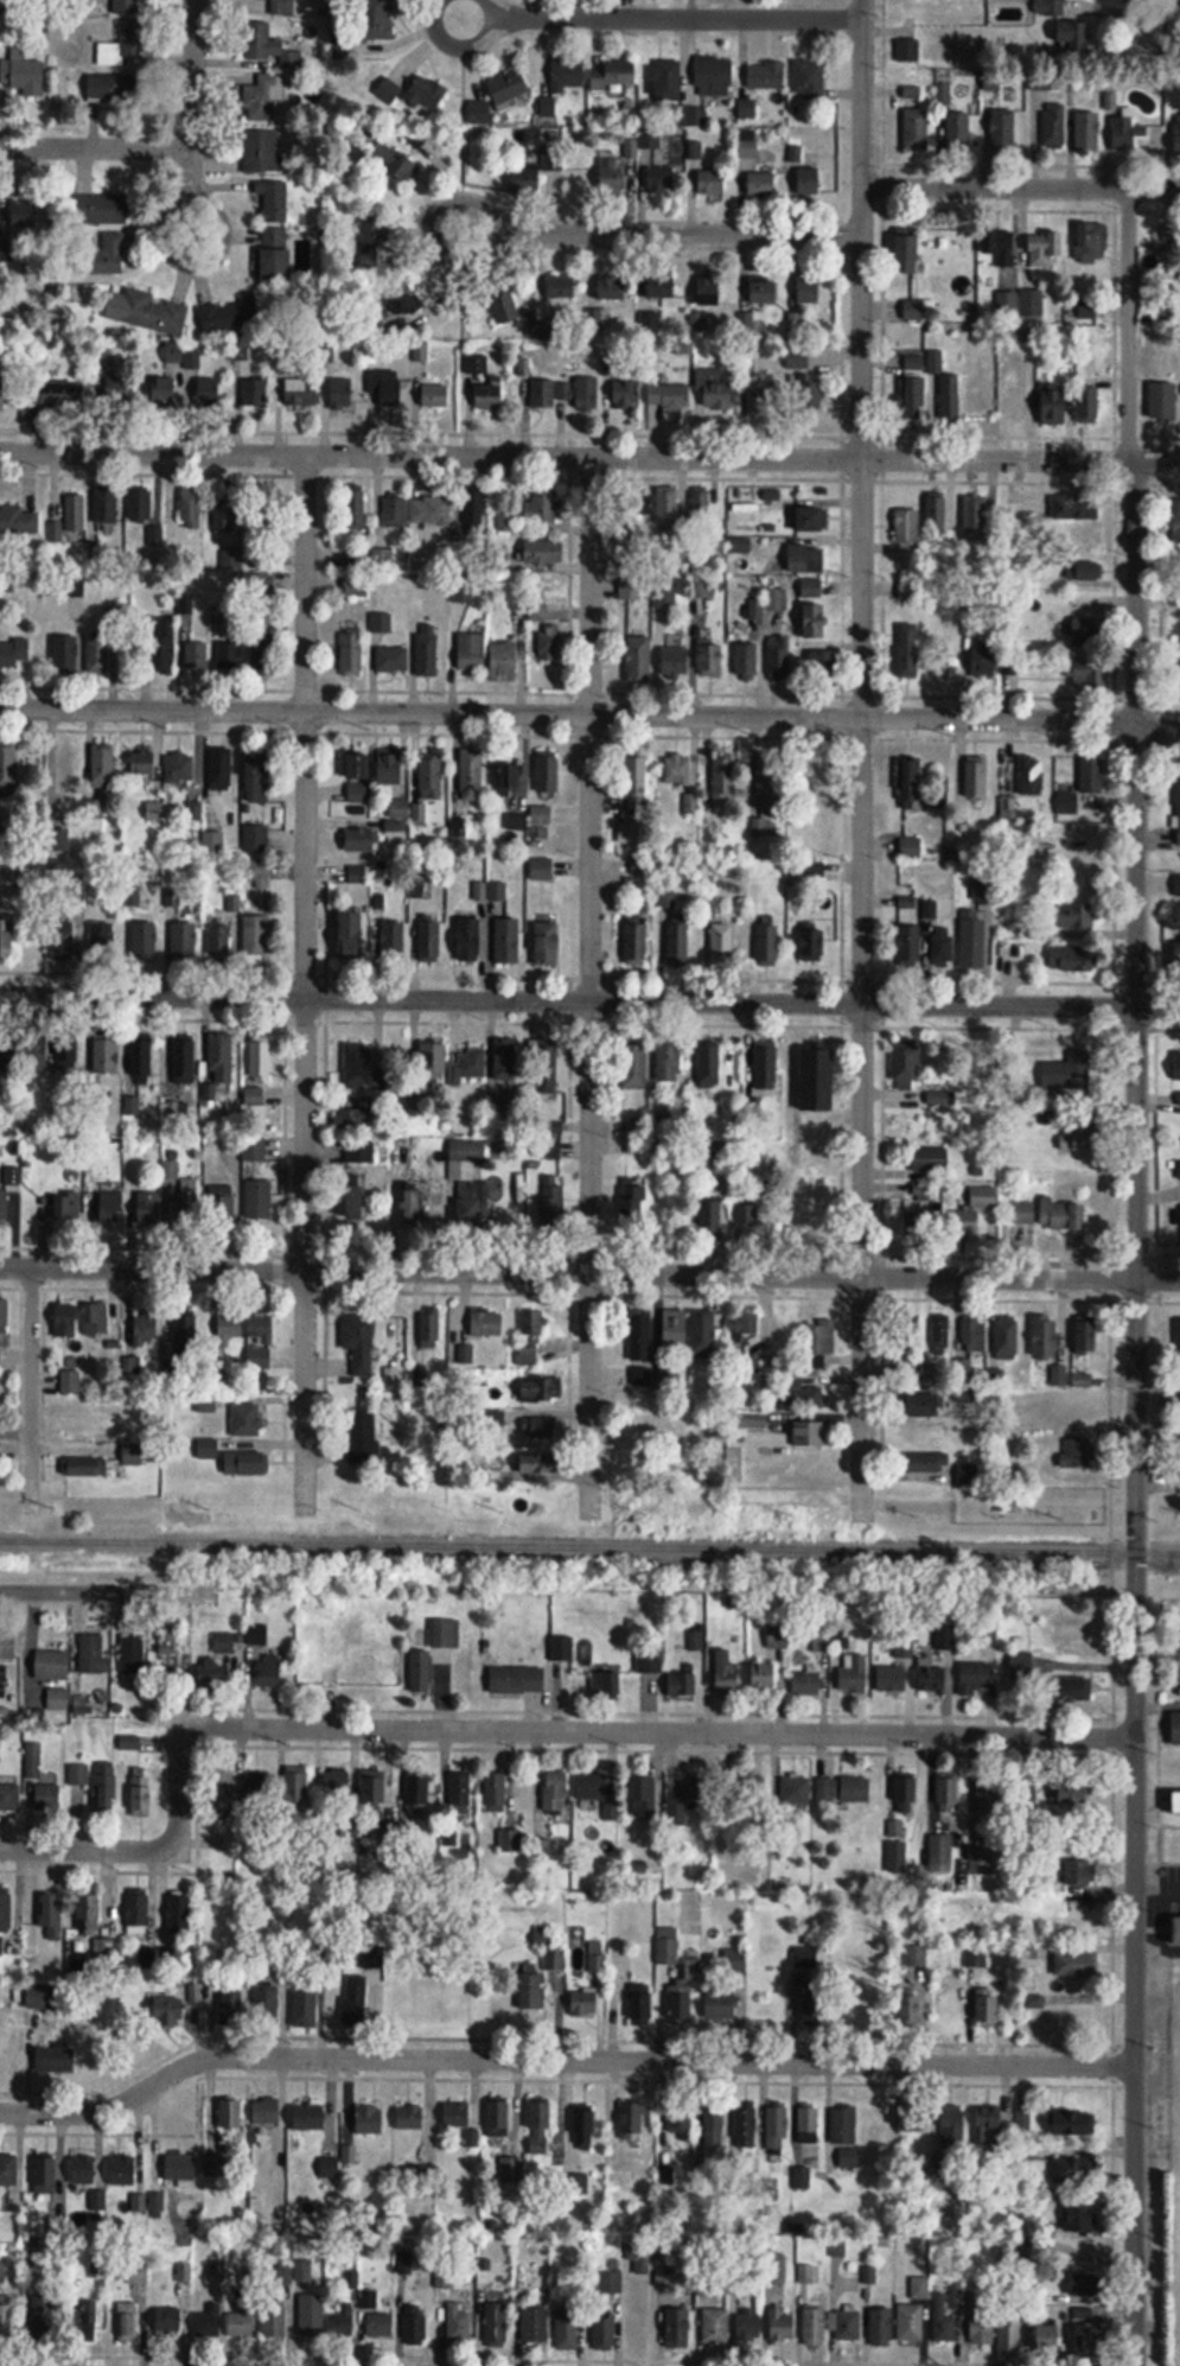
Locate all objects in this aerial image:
building: (274, 6)
building: (1050, 7)
road: (1137, 12)
building: (374, 14)
road: (676, 19)
building: (1073, 36)
road: (461, 46)
building: (267, 49)
building: (24, 74)
building: (615, 75)
building: (714, 75)
building: (766, 75)
building: (566, 76)
building: (809, 77)
building: (665, 79)
building: (509, 87)
building: (388, 90)
building: (114, 91)
building: (426, 91)
building: (263, 96)
building: (748, 109)
building: (480, 112)
building: (1054, 126)
building: (916, 127)
building: (1003, 129)
building: (958, 131)
building: (1089, 131)
building: (1122, 132)
building: (1176, 133)
road: (192, 136)
building: (748, 144)
road: (96, 147)
building: (429, 148)
building: (262, 152)
building: (395, 161)
building: (653, 166)
building: (612, 176)
building: (527, 180)
building: (808, 182)
building: (712, 184)
building: (761, 184)
road: (1020, 186)
building: (273, 199)
building: (101, 209)
building: (37, 216)
road: (639, 235)
building: (372, 242)
building: (1091, 242)
building: (1003, 247)
building: (1044, 248)
building: (109, 252)
building: (276, 253)
building: (908, 254)
building: (561, 286)
building: (662, 286)
building: (611, 287)
building: (809, 288)
building: (765, 290)
building: (709, 291)
building: (404, 300)
building: (1032, 303)
building: (505, 310)
building: (919, 310)
building: (154, 312)
building: (227, 317)
building: (174, 352)
building: (802, 361)
building: (935, 362)
building: (387, 388)
building: (6, 389)
building: (211, 389)
building: (120, 390)
building: (164, 390)
building: (255, 392)
building: (713, 392)
building: (583, 393)
building: (300, 394)
building: (626, 394)
building: (810, 394)
building: (62, 395)
building: (339, 395)
building: (543, 395)
building: (435, 396)
building: (490, 396)
building: (669, 397)
building: (766, 397)
building: (914, 400)
building: (950, 400)
building: (1163, 401)
building: (1015, 402)
building: (978, 403)
building: (1089, 406)
building: (1054, 408)
road: (589, 456)
building: (140, 503)
building: (701, 504)
building: (106, 505)
building: (739, 505)
building: (668, 507)
building: (192, 508)
building: (1077, 508)
building: (394, 511)
building: (430, 511)
building: (474, 511)
building: (351, 513)
building: (225, 514)
building: (506, 516)
building: (937, 516)
building: (811, 520)
building: (977, 520)
building: (19, 522)
building: (1176, 522)
building: (907, 528)
building: (155, 536)
building: (740, 546)
building: (543, 553)
building: (805, 559)
building: (382, 560)
building: (259, 580)
building: (356, 586)
building: (703, 587)
building: (812, 589)
building: (910, 590)
building: (630, 591)
building: (461, 592)
building: (776, 599)
building: (665, 602)
building: (757, 609)
building: (538, 613)
building: (113, 616)
building: (815, 622)
building: (381, 624)
building: (1089, 632)
building: (550, 643)
building: (428, 651)
building: (472, 651)
building: (908, 651)
building: (14, 654)
building: (66, 654)
building: (351, 654)
building: (100, 655)
building: (166, 655)
building: (230, 655)
building: (196, 656)
building: (710, 657)
building: (779, 657)
building: (263, 659)
building: (391, 660)
building: (639, 660)
building: (676, 660)
building: (747, 661)
building: (984, 661)
building: (504, 662)
building: (822, 664)
building: (1093, 678)
building: (1179, 678)
road: (589, 713)
road: (860, 761)
building: (145, 763)
building: (8, 765)
building: (103, 765)
building: (179, 768)
building: (221, 769)
building: (391, 770)
building: (677, 770)
building: (548, 772)
building: (358, 775)
building: (472, 775)
building: (1095, 775)
building: (504, 776)
building: (766, 776)
building: (432, 777)
building: (725, 777)
building: (257, 778)
building: (819, 780)
building: (910, 781)
building: (976, 783)
building: (640, 786)
building: (1067, 801)
building: (1178, 813)
building: (542, 818)
building: (255, 838)
building: (359, 841)
building: (213, 842)
building: (804, 842)
building: (911, 848)
building: (259, 873)
building: (811, 876)
building: (9, 879)
building: (1178, 885)
building: (1074, 916)
building: (351, 933)
building: (256, 935)
building: (7, 936)
building: (103, 939)
building: (184, 939)
building: (219, 939)
building: (429, 939)
building: (470, 939)
building: (767, 939)
building: (145, 940)
building: (508, 940)
building: (972, 940)
building: (62, 941)
building: (391, 941)
building: (636, 941)
building: (814, 941)
building: (678, 942)
building: (722, 942)
building: (548, 943)
building: (910, 946)
building: (1178, 954)
building: (1073, 958)
road: (306, 984)
road: (591, 987)
road: (589, 1000)
building: (37, 1054)
building: (68, 1054)
building: (106, 1055)
building: (140, 1057)
building: (221, 1057)
building: (505, 1058)
building: (434, 1060)
building: (184, 1062)
building: (255, 1062)
building: (669, 1062)
building: (709, 1064)
building: (467, 1066)
building: (634, 1066)
building: (766, 1066)
building: (907, 1066)
building: (1176, 1066)
building: (362, 1067)
building: (544, 1067)
building: (1066, 1074)
building: (818, 1080)
building: (254, 1096)
building: (353, 1117)
building: (1080, 1137)
building: (359, 1151)
building: (809, 1155)
building: (930, 1160)
building: (1179, 1166)
building: (468, 1177)
building: (256, 1182)
building: (923, 1192)
building: (351, 1197)
building: (187, 1202)
building: (222, 1203)
building: (412, 1203)
building: (555, 1204)
building: (65, 1207)
building: (107, 1207)
building: (4, 1208)
building: (148, 1208)
building: (632, 1208)
building: (974, 1209)
building: (1025, 1213)
building: (1061, 1216)
building: (710, 1217)
building: (746, 1221)
building: (808, 1221)
building: (920, 1226)
building: (1172, 1228)
road: (589, 1273)
road: (1136, 1277)
building: (5, 1316)
building: (65, 1321)
building: (100, 1321)
building: (486, 1323)
building: (229, 1325)
building: (260, 1325)
building: (145, 1329)
building: (745, 1329)
building: (429, 1330)
building: (675, 1330)
building: (186, 1331)
building: (703, 1333)
building: (974, 1334)
building: (1087, 1334)
building: (531, 1335)
building: (939, 1336)
building: (1046, 1336)
building: (1006, 1338)
building: (786, 1341)
building: (358, 1343)
building: (640, 1348)
building: (465, 1354)
building: (0, 1356)
building: (259, 1359)
building: (815, 1360)
building: (70, 1382)
building: (542, 1389)
road: (31, 1391)
building: (801, 1392)
building: (923, 1405)
building: (1078, 1407)
building: (497, 1419)
building: (750, 1419)
building: (247, 1420)
building: (85, 1421)
building: (142, 1421)
building: (663, 1425)
building: (538, 1429)
building: (811, 1433)
building: (362, 1436)
building: (208, 1449)
building: (1080, 1452)
building: (245, 1463)
building: (532, 1463)
building: (87, 1467)
railway: (589, 1547)
road: (107, 1591)
building: (1071, 1627)
building: (352, 1633)
building: (257, 1635)
building: (167, 1643)
building: (224, 1645)
building: (8, 1646)
building: (436, 1652)
building: (94, 1655)
building: (133, 1655)
building: (650, 1659)
building: (52, 1665)
building: (1022, 1667)
building: (727, 1672)
building: (268, 1673)
building: (369, 1673)
building: (212, 1674)
building: (764, 1677)
building: (854, 1678)
building: (933, 1679)
building: (517, 1680)
building: (892, 1680)
building: (976, 1680)
building: (806, 1684)
building: (682, 1685)
building: (606, 1686)
building: (1071, 1690)
railway: (1179, 1694)
building: (1175, 1729)
road: (516, 1731)
building: (129, 1743)
building: (751, 1783)
building: (338, 1785)
building: (78, 1786)
building: (106, 1787)
building: (374, 1787)
building: (594, 1787)
building: (40, 1789)
building: (225, 1789)
building: (856, 1789)
building: (949, 1789)
building: (296, 1791)
building: (796, 1791)
building: (827, 1791)
building: (260, 1792)
building: (496, 1792)
building: (555, 1792)
building: (1073, 1792)
building: (419, 1793)
building: (460, 1793)
building: (644, 1794)
building: (906, 1794)
building: (142, 1795)
building: (9, 1798)
building: (693, 1798)
building: (1176, 1802)
building: (940, 1850)
building: (982, 1862)
building: (1080, 1872)
building: (940, 1906)
building: (6, 1910)
building: (88, 1912)
building: (138, 1912)
building: (180, 1915)
building: (52, 1917)
building: (1013, 1917)
building: (974, 1929)
building: (1178, 1931)
building: (668, 1947)
building: (103, 1948)
building: (916, 1955)
building: (595, 1958)
building: (806, 1958)
building: (976, 1958)
building: (148, 1959)
building: (620, 1961)
building: (735, 1961)
building: (1077, 1964)
building: (535, 1983)
building: (40, 1996)
building: (355, 2003)
building: (583, 2003)
building: (721, 2004)
building: (642, 2005)
building: (914, 2005)
building: (988, 2005)
building: (231, 2006)
building: (267, 2006)
building: (306, 2006)
building: (680, 2008)
building: (814, 2011)
building: (168, 2012)
road: (560, 2059)
building: (55, 2060)
building: (266, 2112)
building: (230, 2113)
building: (498, 2117)
building: (308, 2118)
building: (409, 2118)
building: (916, 2118)
building: (369, 2119)
building: (680, 2119)
building: (463, 2120)
building: (632, 2120)
building: (1072, 2123)
building: (809, 2124)
building: (876, 2124)
building: (989, 2125)
building: (540, 2126)
building: (745, 2126)
building: (777, 2126)
building: (838, 2126)
building: (714, 2128)
building: (953, 2128)
building: (583, 2129)
building: (356, 2155)
building: (87, 2168)
building: (330, 2168)
building: (123, 2169)
building: (180, 2169)
building: (511, 2170)
building: (1073, 2170)
building: (8, 2171)
building: (423, 2173)
building: (45, 2174)
building: (97, 2200)
building: (1082, 2216)
building: (34, 2275)
building: (610, 2282)
building: (919, 2288)
building: (311, 2316)
building: (6, 2320)
building: (126, 2321)
building: (170, 2321)
building: (275, 2321)
building: (359, 2321)
building: (943, 2321)
building: (910, 2322)
building: (241, 2323)
building: (458, 2323)
building: (496, 2323)
building: (415, 2324)
building: (535, 2324)
building: (208, 2326)
building: (715, 2326)
building: (748, 2326)
building: (782, 2326)
building: (846, 2326)
building: (815, 2327)
building: (880, 2327)
building: (677, 2328)
building: (567, 2329)
building: (981, 2330)
building: (604, 2332)
building: (1009, 2334)
building: (1048, 2336)
building: (1086, 2338)

